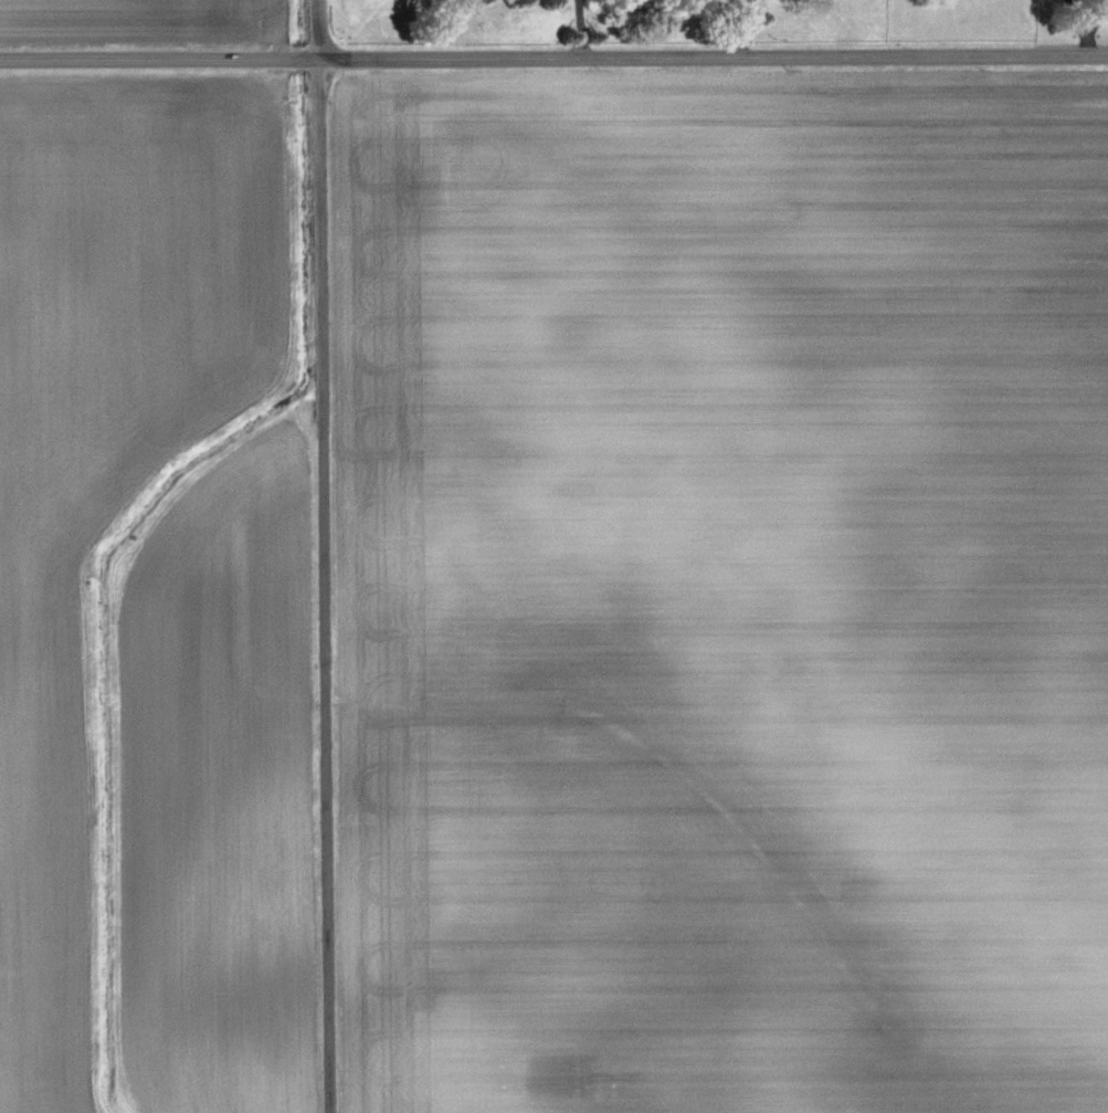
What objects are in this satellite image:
road: (736, 9)
road: (750, 11)
road: (739, 36)
road: (553, 56)
road: (324, 556)

